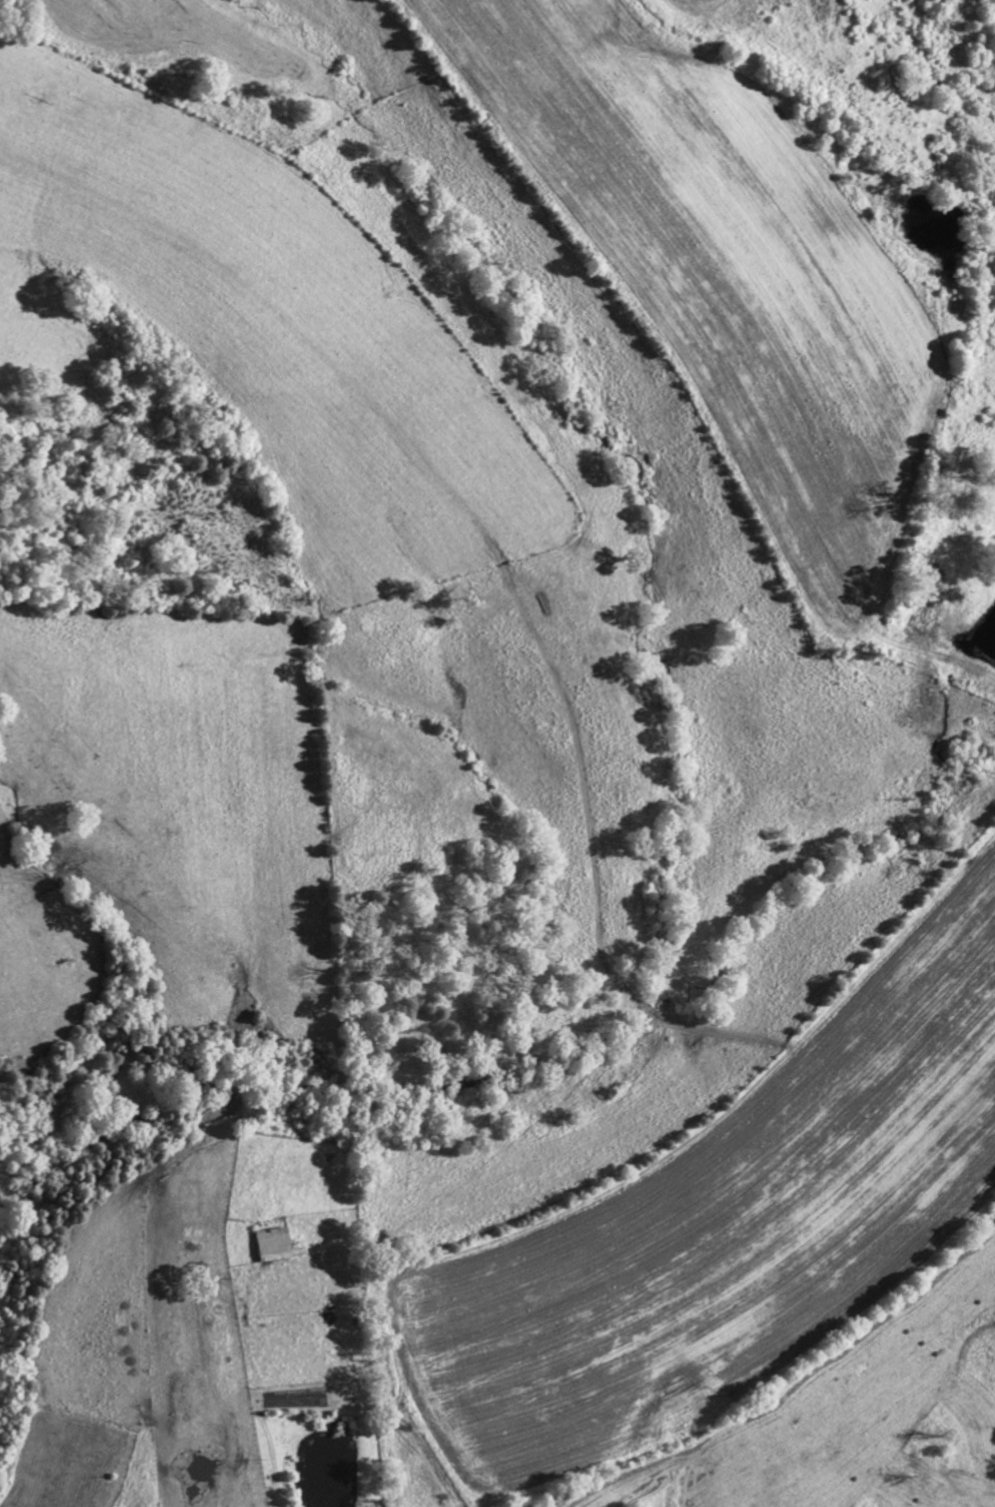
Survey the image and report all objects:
building: (272, 1248)

